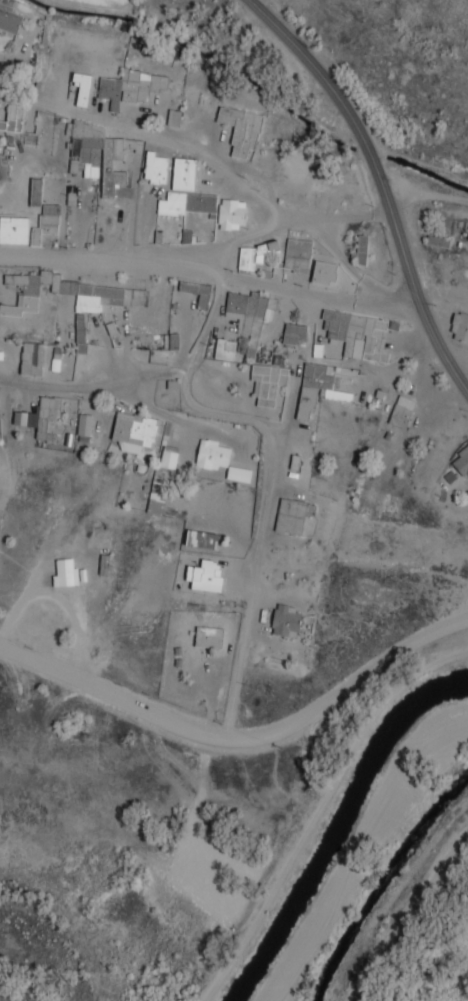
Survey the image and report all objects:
building: (9, 16)
building: (81, 78)
building: (123, 88)
building: (173, 117)
building: (13, 118)
building: (240, 129)
building: (98, 153)
building: (155, 168)
road: (225, 169)
building: (3, 170)
building: (183, 174)
road: (381, 182)
building: (27, 195)
building: (186, 203)
building: (50, 208)
building: (231, 213)
building: (13, 230)
road: (225, 240)
building: (437, 241)
building: (361, 249)
building: (252, 255)
building: (297, 255)
road: (210, 272)
building: (323, 272)
building: (36, 291)
building: (98, 297)
building: (203, 300)
building: (244, 310)
road: (209, 322)
building: (460, 327)
building: (80, 333)
building: (294, 334)
building: (357, 334)
building: (245, 346)
building: (224, 349)
building: (31, 358)
road: (458, 361)
building: (267, 383)
building: (317, 389)
building: (401, 411)
building: (40, 415)
building: (84, 427)
building: (133, 431)
road: (265, 432)
building: (211, 454)
building: (168, 456)
building: (461, 462)
building: (238, 474)
building: (157, 491)
building: (292, 515)
building: (201, 539)
building: (65, 573)
building: (285, 621)
building: (208, 637)
road: (240, 736)

